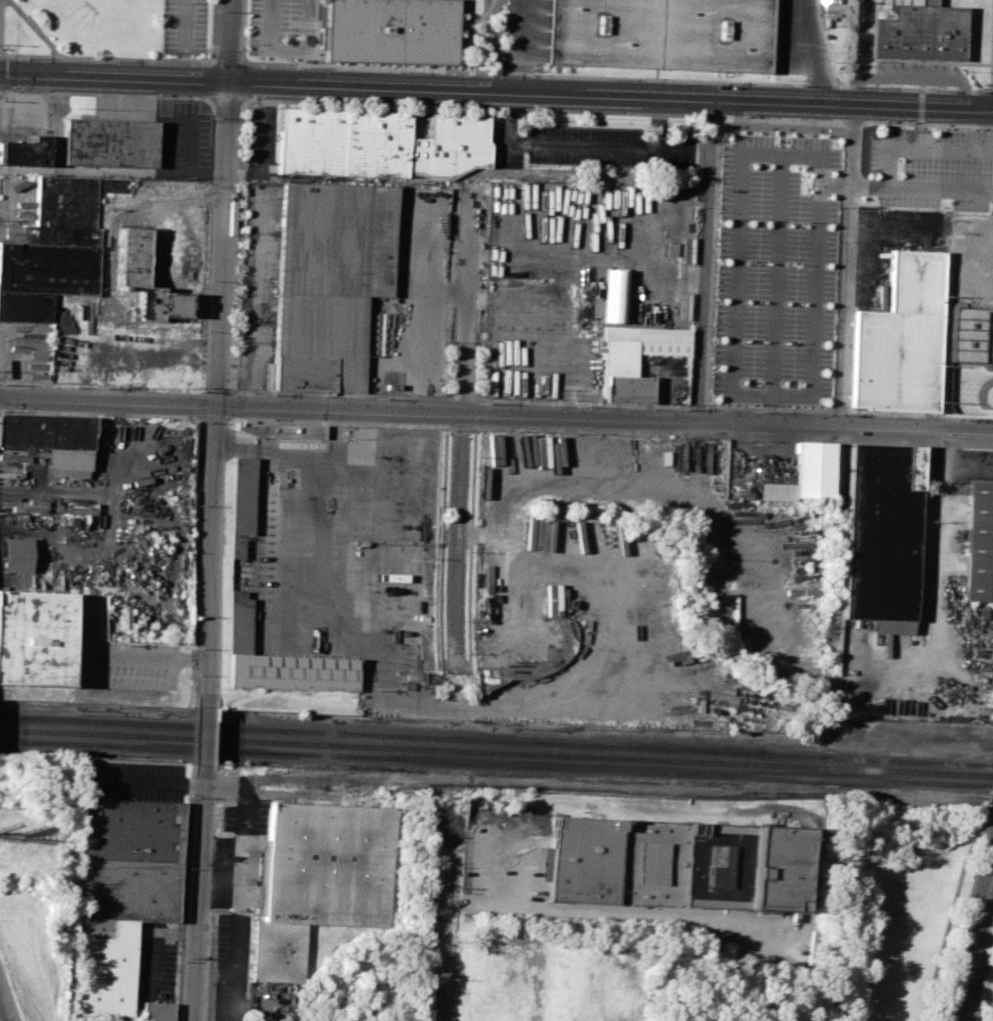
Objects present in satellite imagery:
street lamp: (26, 14)
road: (184, 25)
parking lot: (185, 27)
parking lot: (280, 27)
road: (35, 29)
street lamp: (41, 30)
building: (390, 31)
building: (661, 32)
building: (915, 33)
street lamp: (287, 39)
road: (522, 45)
street lamp: (241, 46)
road: (287, 47)
road: (810, 52)
road: (1, 56)
road: (110, 59)
road: (587, 76)
road: (494, 90)
street lamp: (153, 95)
street lamp: (299, 100)
street lamp: (444, 105)
road: (496, 108)
road: (990, 109)
street lamp: (588, 110)
road: (990, 110)
street lamp: (742, 117)
street lamp: (878, 122)
road: (661, 123)
road: (920, 128)
street lamp: (846, 133)
building: (107, 141)
building: (379, 143)
road: (576, 146)
road: (956, 149)
parking lot: (607, 150)
building: (22, 151)
street lamp: (238, 161)
parking lot: (932, 168)
road: (836, 184)
road: (899, 190)
road: (850, 211)
building: (53, 249)
road: (706, 258)
building: (134, 259)
road: (776, 274)
street lamp: (234, 279)
building: (328, 280)
road: (422, 285)
road: (445, 291)
road: (468, 295)
building: (970, 334)
building: (901, 338)
road: (219, 354)
building: (636, 357)
park: (969, 385)
street lamp: (230, 388)
road: (731, 391)
road: (708, 405)
road: (771, 407)
road: (496, 412)
building: (283, 431)
building: (52, 440)
road: (308, 454)
building: (805, 474)
road: (54, 492)
building: (242, 495)
road: (459, 533)
building: (880, 533)
building: (978, 544)
road: (937, 545)
building: (235, 547)
building: (15, 555)
building: (33, 639)
parking lot: (112, 653)
road: (187, 660)
building: (289, 673)
road: (86, 686)
road: (483, 705)
road: (202, 737)
railway: (496, 740)
railway: (496, 752)
railway: (496, 763)
road: (242, 812)
street lamp: (976, 841)
building: (673, 857)
building: (319, 881)
road: (197, 893)
building: (121, 896)
road: (627, 911)
road: (235, 929)
road: (440, 934)
building: (721, 939)
road: (975, 944)
street lamp: (989, 963)
road: (8, 995)
building: (155, 1011)

